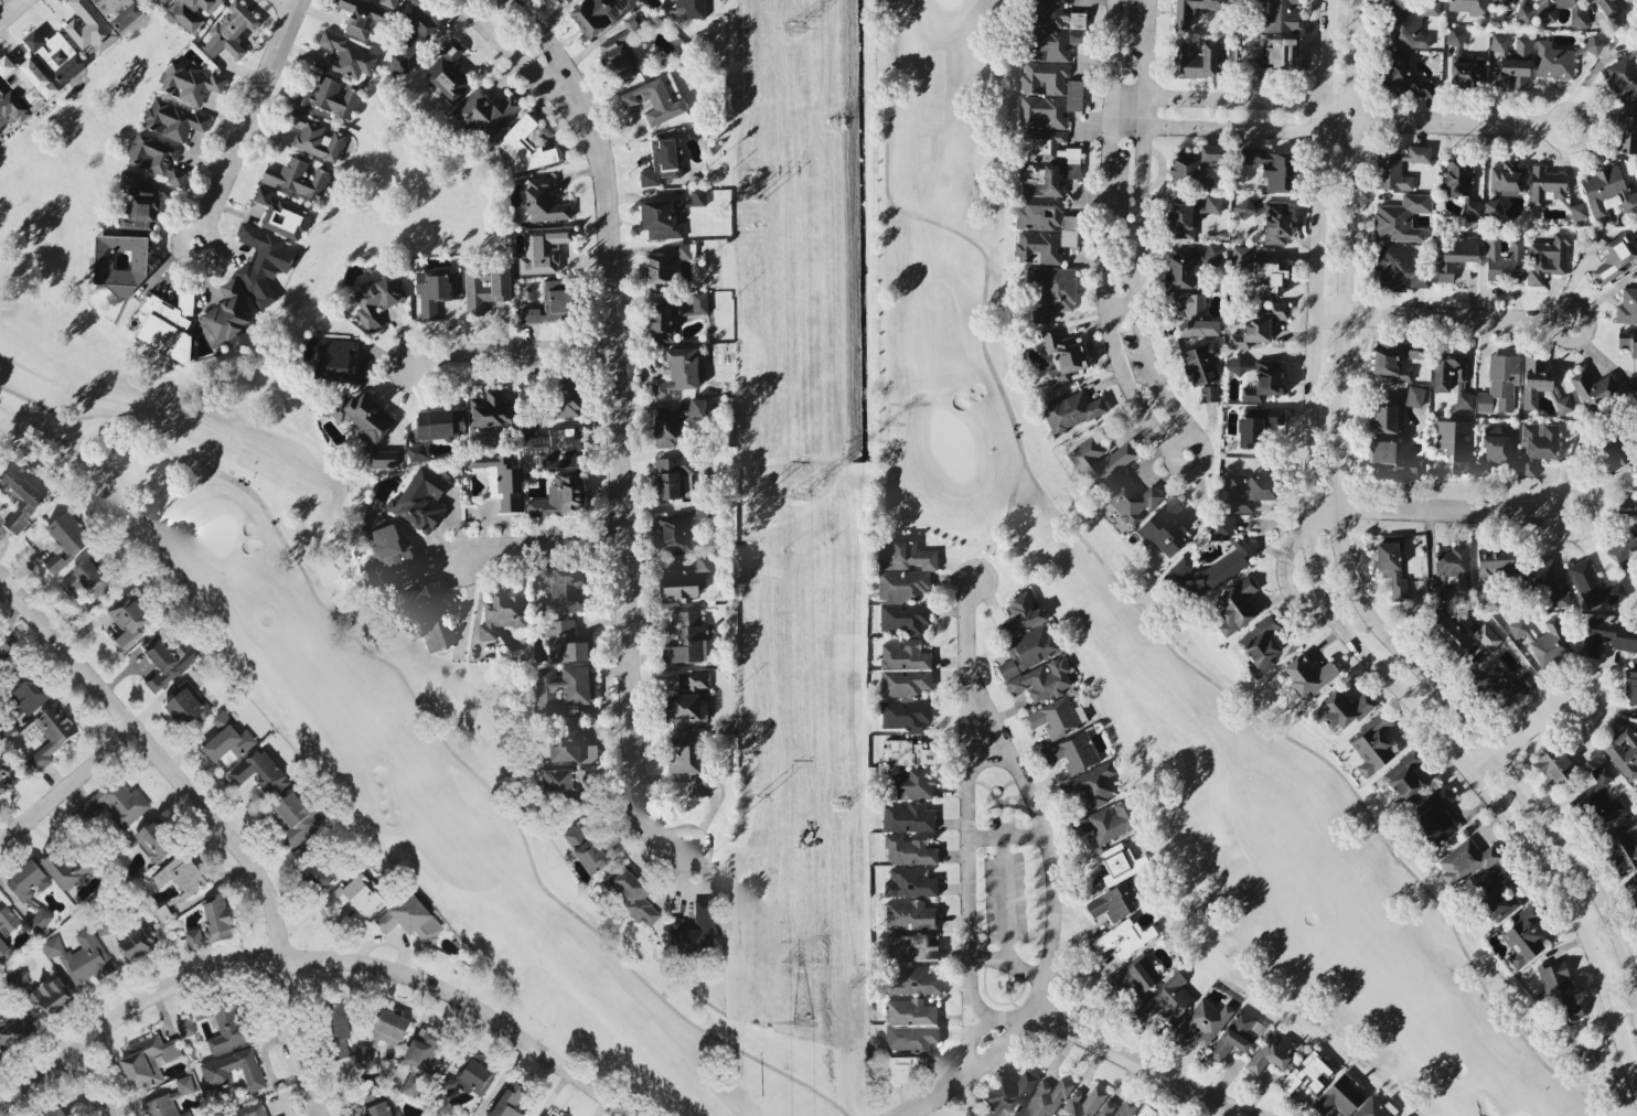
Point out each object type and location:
building: (553, 0)
building: (163, 1)
road: (286, 2)
building: (387, 2)
building: (1499, 2)
road: (7, 6)
building: (1469, 6)
building: (1607, 8)
building: (687, 9)
building: (1192, 9)
building: (1523, 10)
building: (191, 11)
building: (1278, 14)
building: (1547, 14)
building: (361, 15)
building: (98, 20)
building: (1411, 24)
power tower: (791, 26)
building: (231, 30)
building: (1052, 31)
building: (411, 36)
building: (1498, 42)
building: (619, 51)
building: (54, 54)
building: (1272, 55)
building: (346, 56)
road: (555, 56)
building: (1560, 57)
building: (1198, 60)
road: (523, 61)
building: (1465, 61)
building: (1517, 64)
building: (447, 71)
building: (1397, 71)
building: (1623, 73)
building: (26, 81)
building: (190, 83)
building: (1421, 87)
building: (1048, 94)
building: (330, 96)
road: (1234, 97)
building: (655, 98)
building: (10, 105)
building: (485, 111)
building: (171, 119)
road: (243, 120)
road: (1458, 121)
power tower: (832, 122)
road: (1234, 127)
building: (1626, 135)
building: (313, 136)
building: (524, 146)
building: (1211, 152)
building: (154, 157)
building: (660, 161)
building: (1184, 167)
building: (1270, 167)
building: (1399, 167)
building: (296, 178)
building: (1507, 178)
building: (1461, 184)
building: (1544, 185)
building: (1607, 191)
power tower: (753, 195)
building: (543, 201)
building: (136, 205)
building: (1491, 206)
building: (1577, 210)
building: (280, 214)
building: (667, 214)
building: (1189, 215)
building: (1400, 217)
building: (1270, 221)
building: (1042, 229)
road: (1136, 242)
building: (542, 248)
building: (683, 249)
road: (1109, 253)
building: (1455, 253)
building: (1212, 254)
building: (1240, 254)
building: (1615, 255)
building: (1547, 258)
building: (1502, 259)
building: (119, 262)
building: (261, 262)
building: (1398, 268)
building: (1178, 270)
building: (656, 271)
building: (1263, 278)
building: (484, 286)
building: (435, 290)
building: (1051, 290)
building: (376, 299)
building: (549, 302)
building: (1627, 305)
building: (1192, 313)
building: (224, 314)
road: (1441, 314)
building: (673, 316)
building: (167, 324)
building: (1258, 324)
building: (1627, 340)
building: (1413, 350)
building: (1060, 353)
road: (520, 354)
building: (338, 361)
road: (1130, 361)
building: (1199, 362)
building: (1237, 364)
building: (1390, 367)
building: (678, 371)
building: (1451, 377)
building: (1533, 380)
building: (537, 382)
building: (1264, 382)
building: (1499, 383)
building: (1593, 389)
building: (1209, 393)
building: (566, 395)
building: (1563, 404)
building: (1071, 410)
building: (1392, 410)
building: (491, 411)
building: (438, 422)
building: (674, 423)
building: (1256, 423)
building: (367, 427)
building: (1454, 443)
building: (1537, 444)
building: (555, 448)
building: (1494, 449)
building: (416, 451)
building: (1611, 452)
building: (1099, 459)
building: (0, 460)
building: (1385, 462)
building: (673, 476)
building: (500, 479)
building: (1247, 491)
road: (622, 496)
power tower: (756, 496)
power tower: (796, 496)
building: (558, 497)
building: (1130, 498)
building: (22, 500)
building: (419, 500)
building: (1628, 500)
road: (1443, 509)
building: (1162, 529)
building: (672, 533)
building: (67, 541)
road: (544, 543)
road: (1339, 545)
building: (1623, 545)
building: (389, 551)
building: (1238, 554)
building: (903, 555)
building: (1454, 564)
building: (1390, 567)
building: (1537, 572)
road: (1282, 576)
building: (685, 579)
building: (89, 581)
building: (901, 584)
building: (1592, 584)
building: (564, 588)
road: (4, 594)
road: (1323, 594)
building: (1560, 598)
building: (1235, 605)
building: (502, 613)
building: (1019, 615)
building: (427, 616)
building: (903, 616)
road: (963, 618)
building: (130, 619)
park: (1154, 629)
building: (1458, 635)
building: (1608, 635)
building: (687, 639)
building: (565, 641)
building: (1543, 641)
building: (1261, 645)
building: (6, 652)
building: (167, 662)
building: (1034, 664)
building: (903, 669)
building: (1307, 674)
building: (1487, 676)
building: (692, 679)
building: (1522, 682)
building: (1630, 684)
building: (564, 685)
park: (354, 694)
building: (29, 696)
building: (188, 707)
building: (1340, 709)
building: (686, 710)
road: (988, 710)
building: (905, 713)
road: (964, 716)
building: (1056, 716)
road: (1521, 729)
building: (53, 737)
building: (229, 740)
building: (571, 743)
building: (1371, 744)
building: (1623, 751)
building: (908, 752)
building: (1072, 752)
building: (685, 760)
road: (970, 763)
building: (1552, 766)
building: (261, 773)
building: (1403, 773)
building: (4, 774)
building: (563, 784)
building: (912, 784)
building: (1091, 785)
road: (66, 790)
power tower: (761, 794)
building: (1599, 797)
building: (118, 804)
power tower: (839, 806)
building: (1434, 815)
building: (907, 816)
building: (1109, 819)
building: (299, 820)
road: (213, 822)
road: (1005, 837)
building: (157, 843)
building: (1622, 846)
building: (908, 849)
building: (589, 851)
building: (1464, 861)
building: (1113, 862)
building: (69, 871)
building: (183, 876)
building: (320, 876)
building: (29, 882)
building: (909, 882)
building: (1497, 894)
building: (633, 895)
building: (1635, 897)
building: (356, 898)
building: (1112, 901)
building: (908, 914)
road: (1005, 916)
building: (411, 920)
building: (9, 922)
building: (42, 922)
building: (705, 925)
building: (214, 926)
building: (108, 929)
building: (1522, 935)
building: (1123, 937)
building: (140, 945)
building: (910, 947)
building: (4, 951)
building: (81, 957)
road: (312, 961)
road: (1024, 966)
building: (1135, 975)
building: (23, 978)
building: (912, 979)
building: (1560, 990)
building: (52, 999)
building: (1166, 999)
building: (909, 1011)
building: (1201, 1021)
building: (192, 1023)
building: (340, 1023)
power tower: (802, 1023)
building: (228, 1029)
building: (15, 1032)
building: (1235, 1033)
road: (967, 1034)
building: (385, 1038)
building: (911, 1039)
road: (997, 1043)
building: (343, 1052)
building: (427, 1053)
building: (1270, 1053)
road: (1133, 1061)
building: (150, 1062)
building: (0, 1065)
building: (220, 1071)
building: (902, 1071)
building: (1307, 1073)
building: (477, 1079)
road: (87, 1084)
building: (414, 1084)
building: (1008, 1094)
building: (1337, 1095)
building: (1046, 1097)
building: (172, 1099)
road: (933, 1099)
building: (513, 1101)
building: (1081, 1102)
building: (1114, 1107)
building: (1374, 1108)
building: (382, 1110)
building: (1144, 1110)
building: (255, 1112)
park: (963, 1112)
building: (58, 1113)
building: (188, 1114)
road: (1240, 1114)
road: (1243, 1114)

